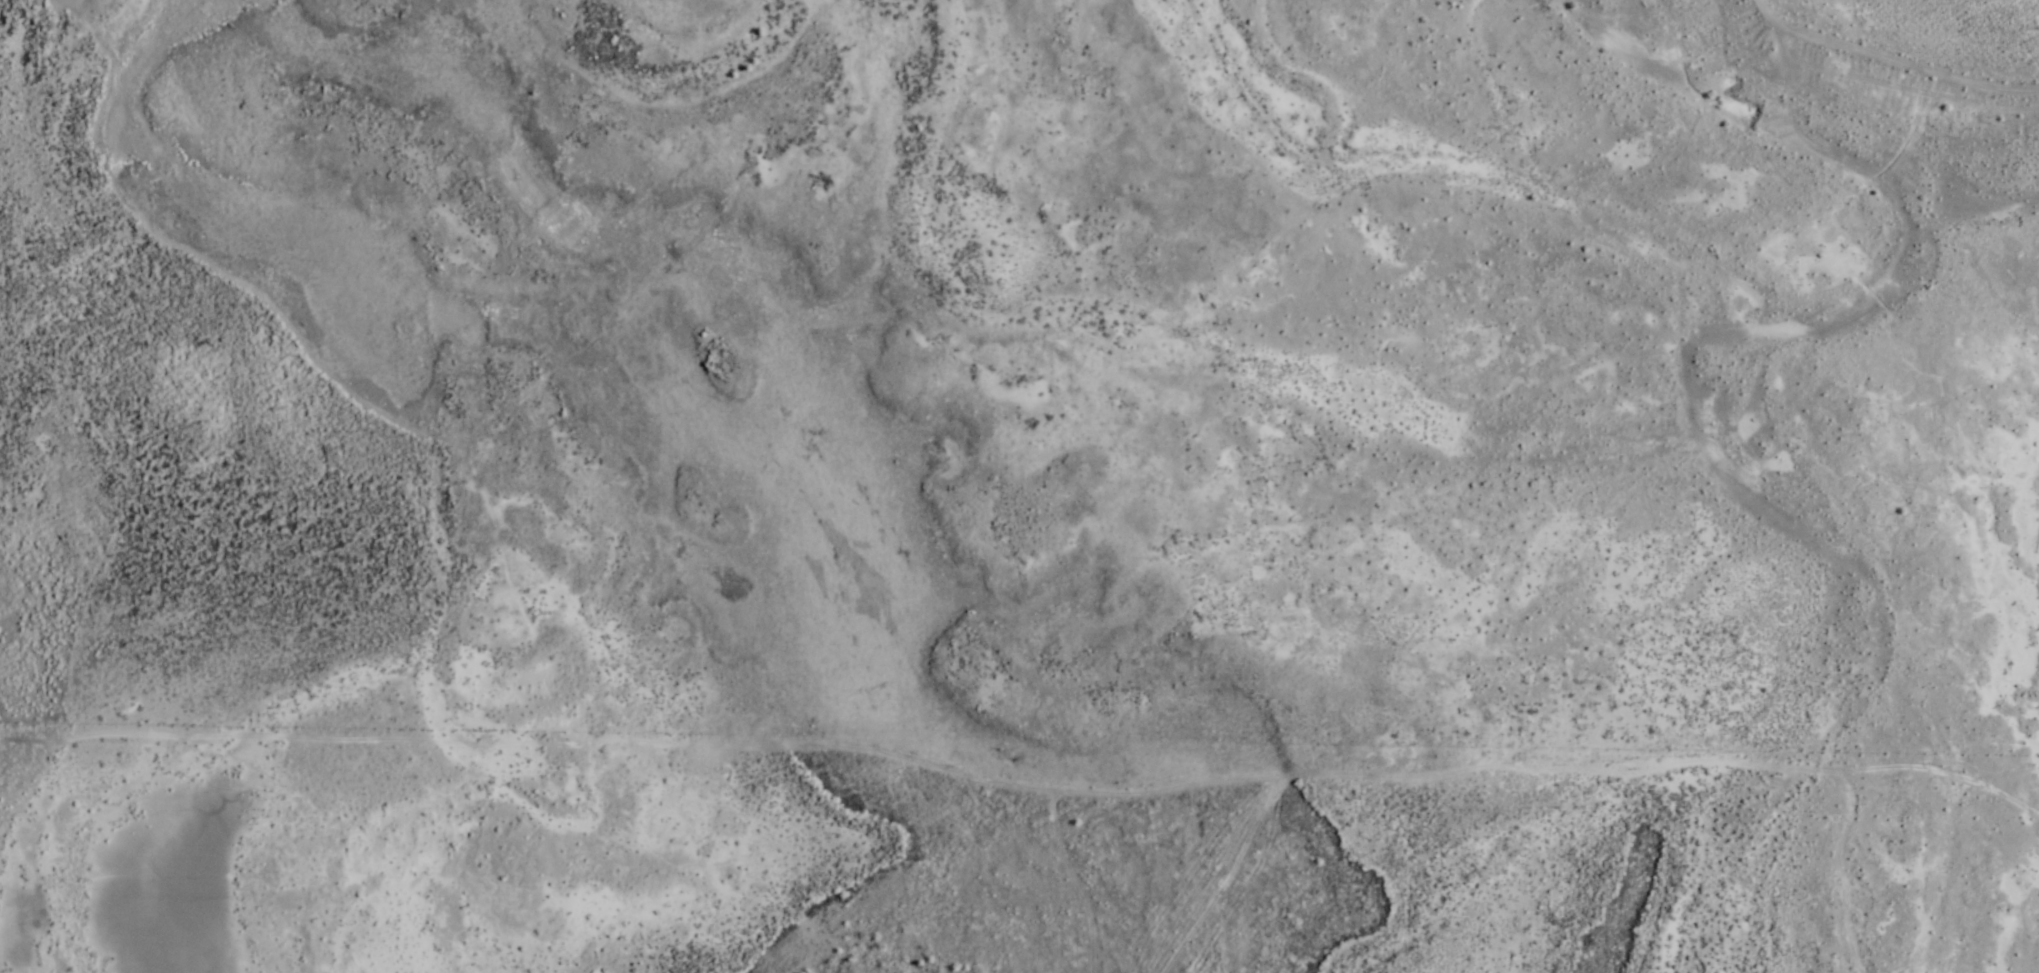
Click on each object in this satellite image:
road: (1883, 64)

